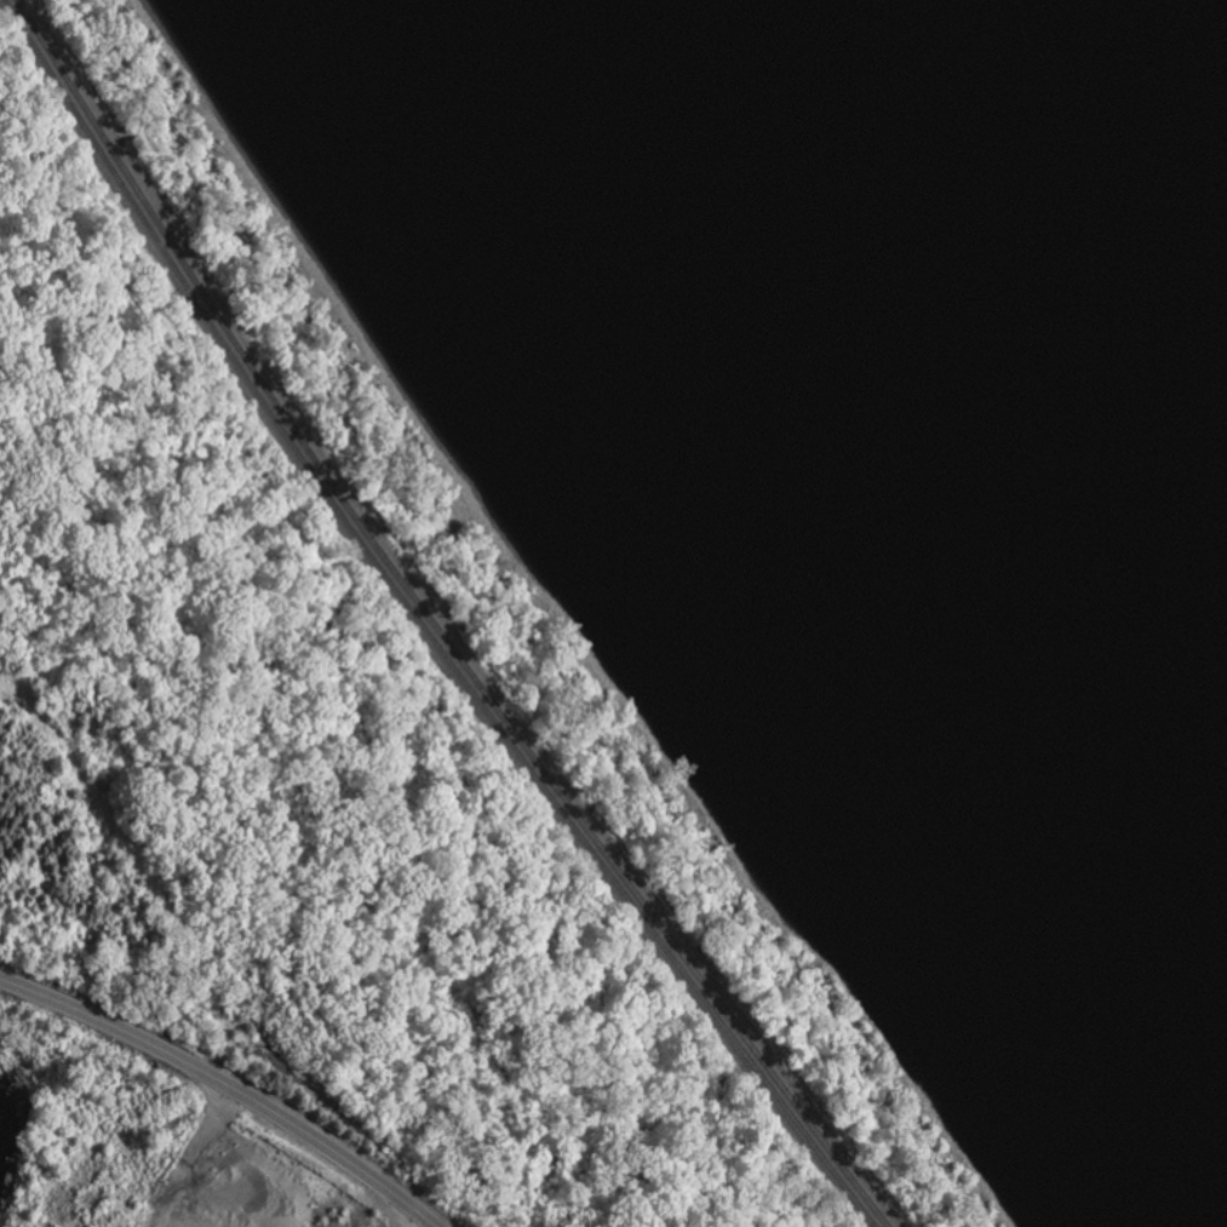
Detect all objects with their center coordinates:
river: (1019, 263)
railway: (422, 626)
railway: (435, 627)
road: (227, 1085)

